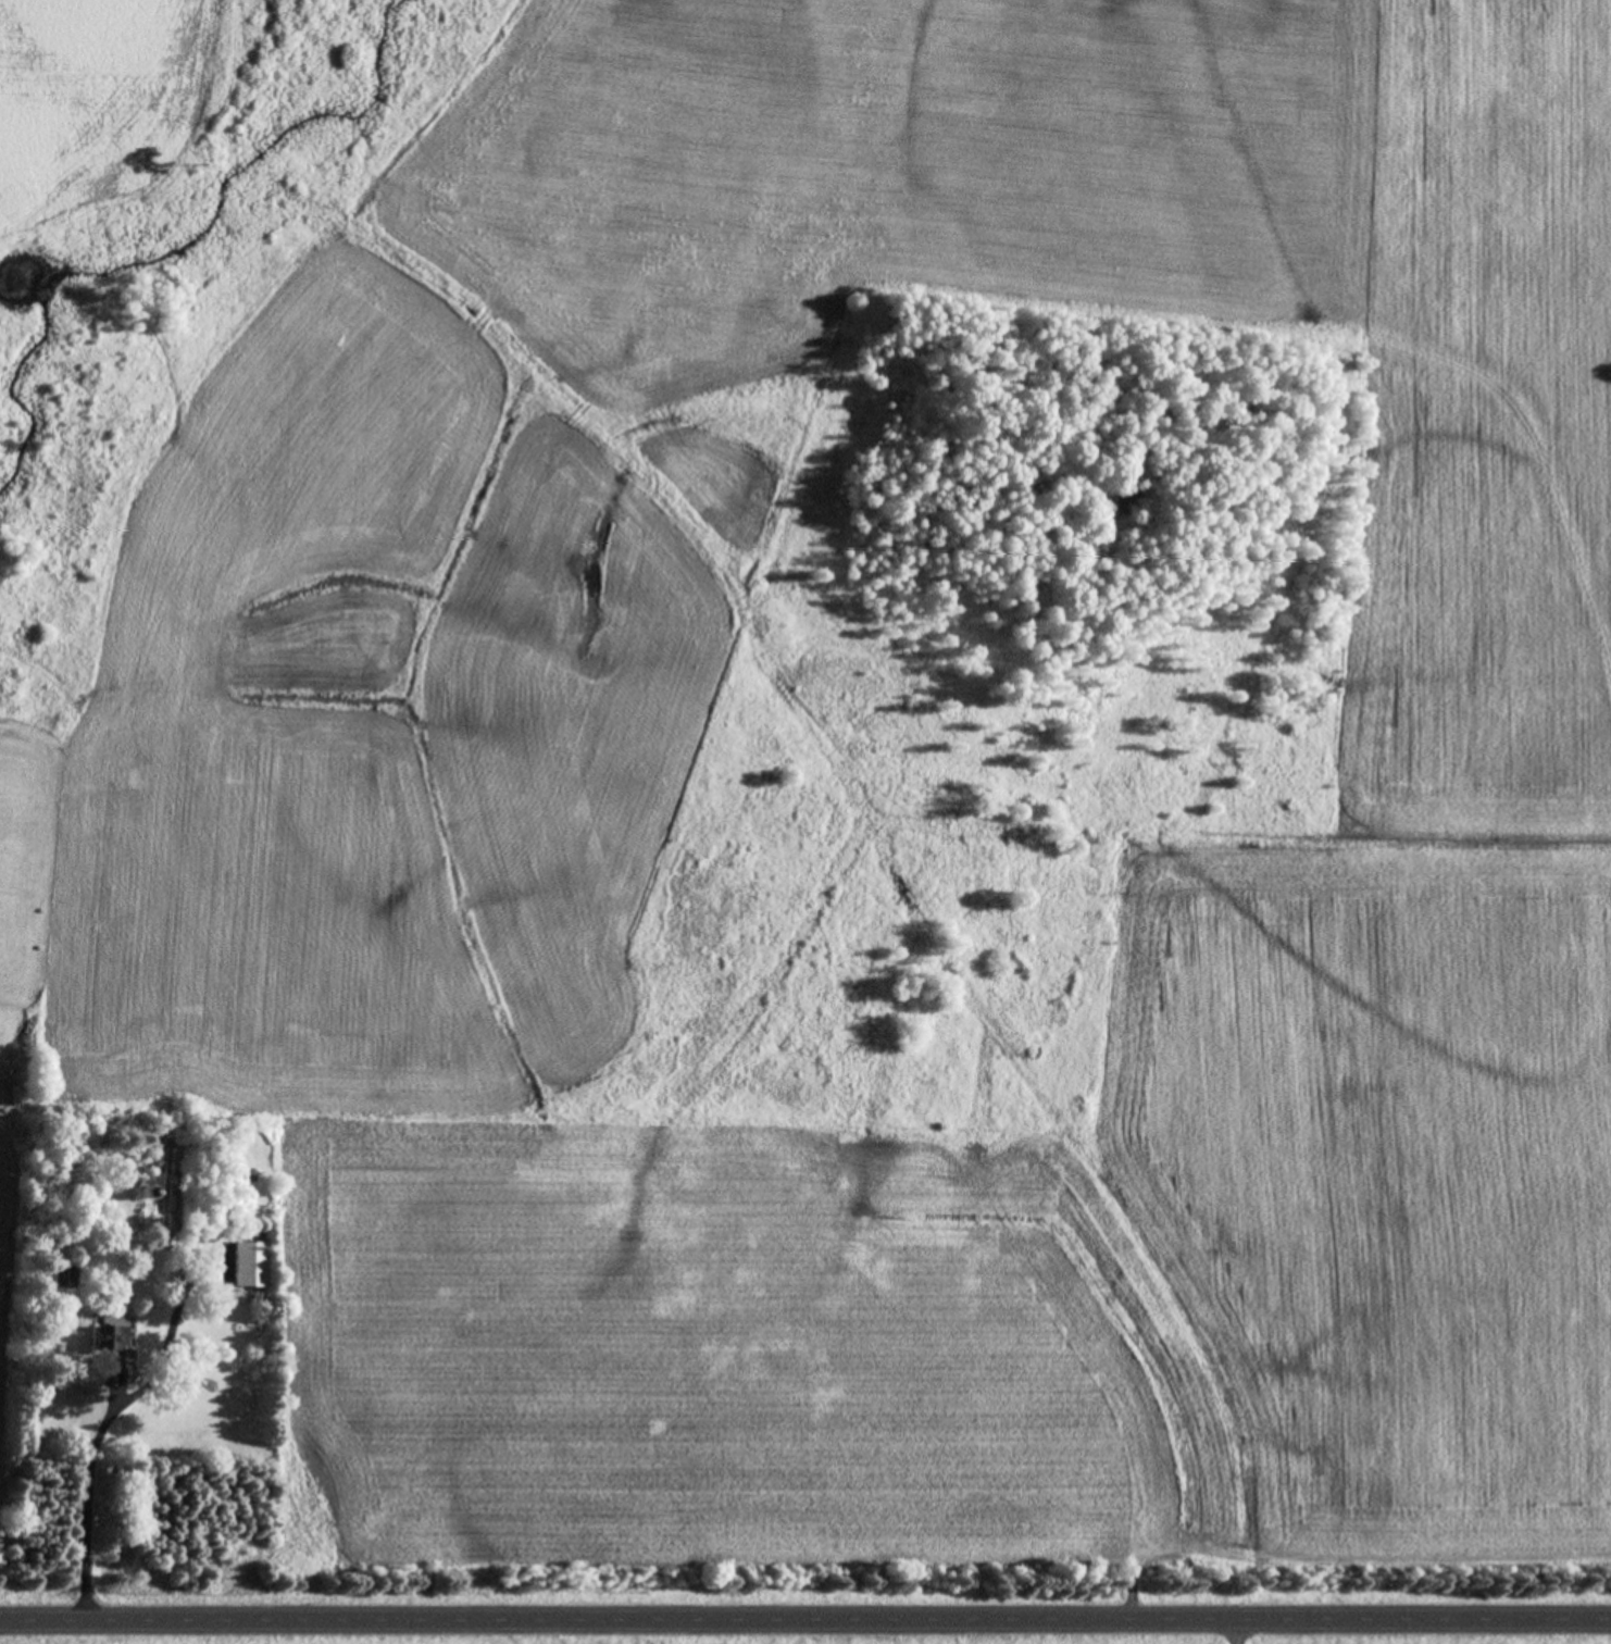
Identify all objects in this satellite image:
building: (148, 1244)
building: (247, 1266)
building: (102, 1341)
road: (804, 1624)

